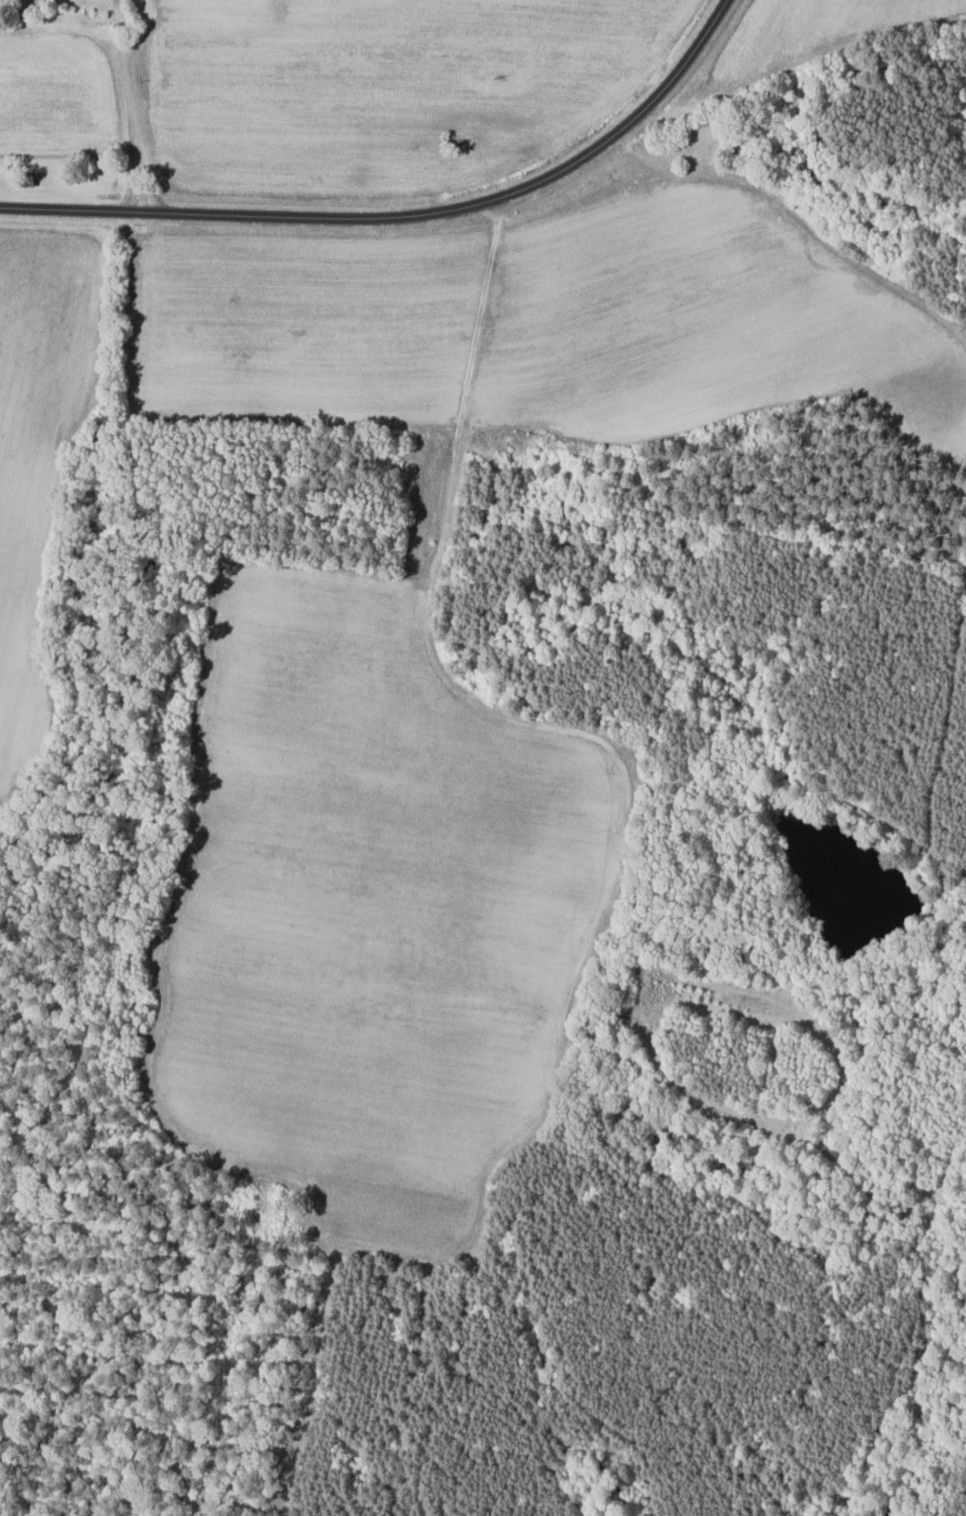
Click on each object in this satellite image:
road: (124, 65)
road: (137, 132)
road: (406, 219)
road: (811, 221)
road: (938, 761)

